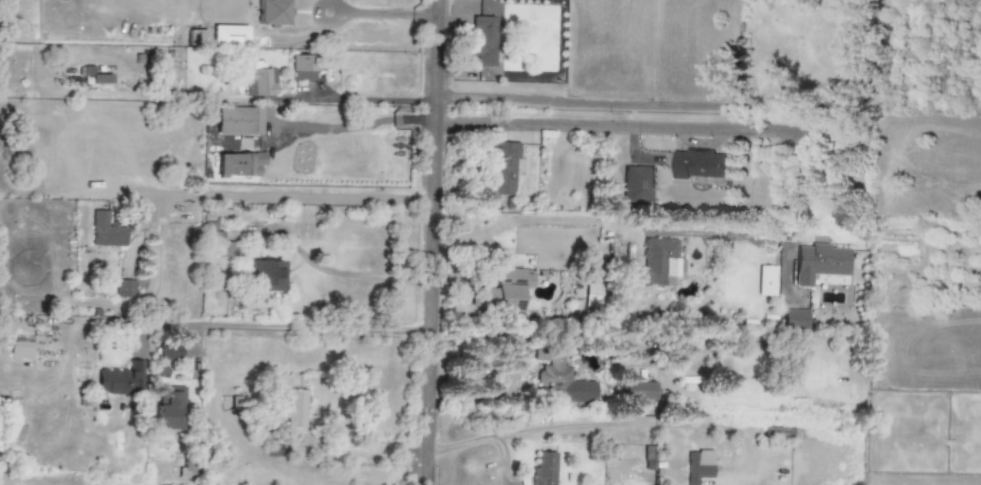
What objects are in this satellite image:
building: (271, 12)
road: (381, 13)
building: (197, 38)
building: (484, 41)
road: (340, 47)
building: (303, 68)
road: (880, 72)
building: (260, 82)
road: (565, 101)
road: (611, 128)
building: (240, 164)
building: (697, 164)
building: (503, 168)
building: (637, 185)
road: (797, 185)
road: (277, 198)
road: (527, 219)
building: (106, 230)
road: (430, 242)
building: (230, 249)
building: (661, 262)
building: (819, 263)
road: (333, 272)
building: (268, 276)
building: (124, 289)
building: (502, 291)
building: (593, 296)
building: (794, 320)
road: (313, 328)
building: (20, 350)
building: (168, 352)
building: (121, 380)
building: (564, 381)
building: (637, 391)
building: (169, 407)
building: (291, 410)
road: (580, 430)
road: (347, 438)
building: (699, 466)
building: (544, 469)

